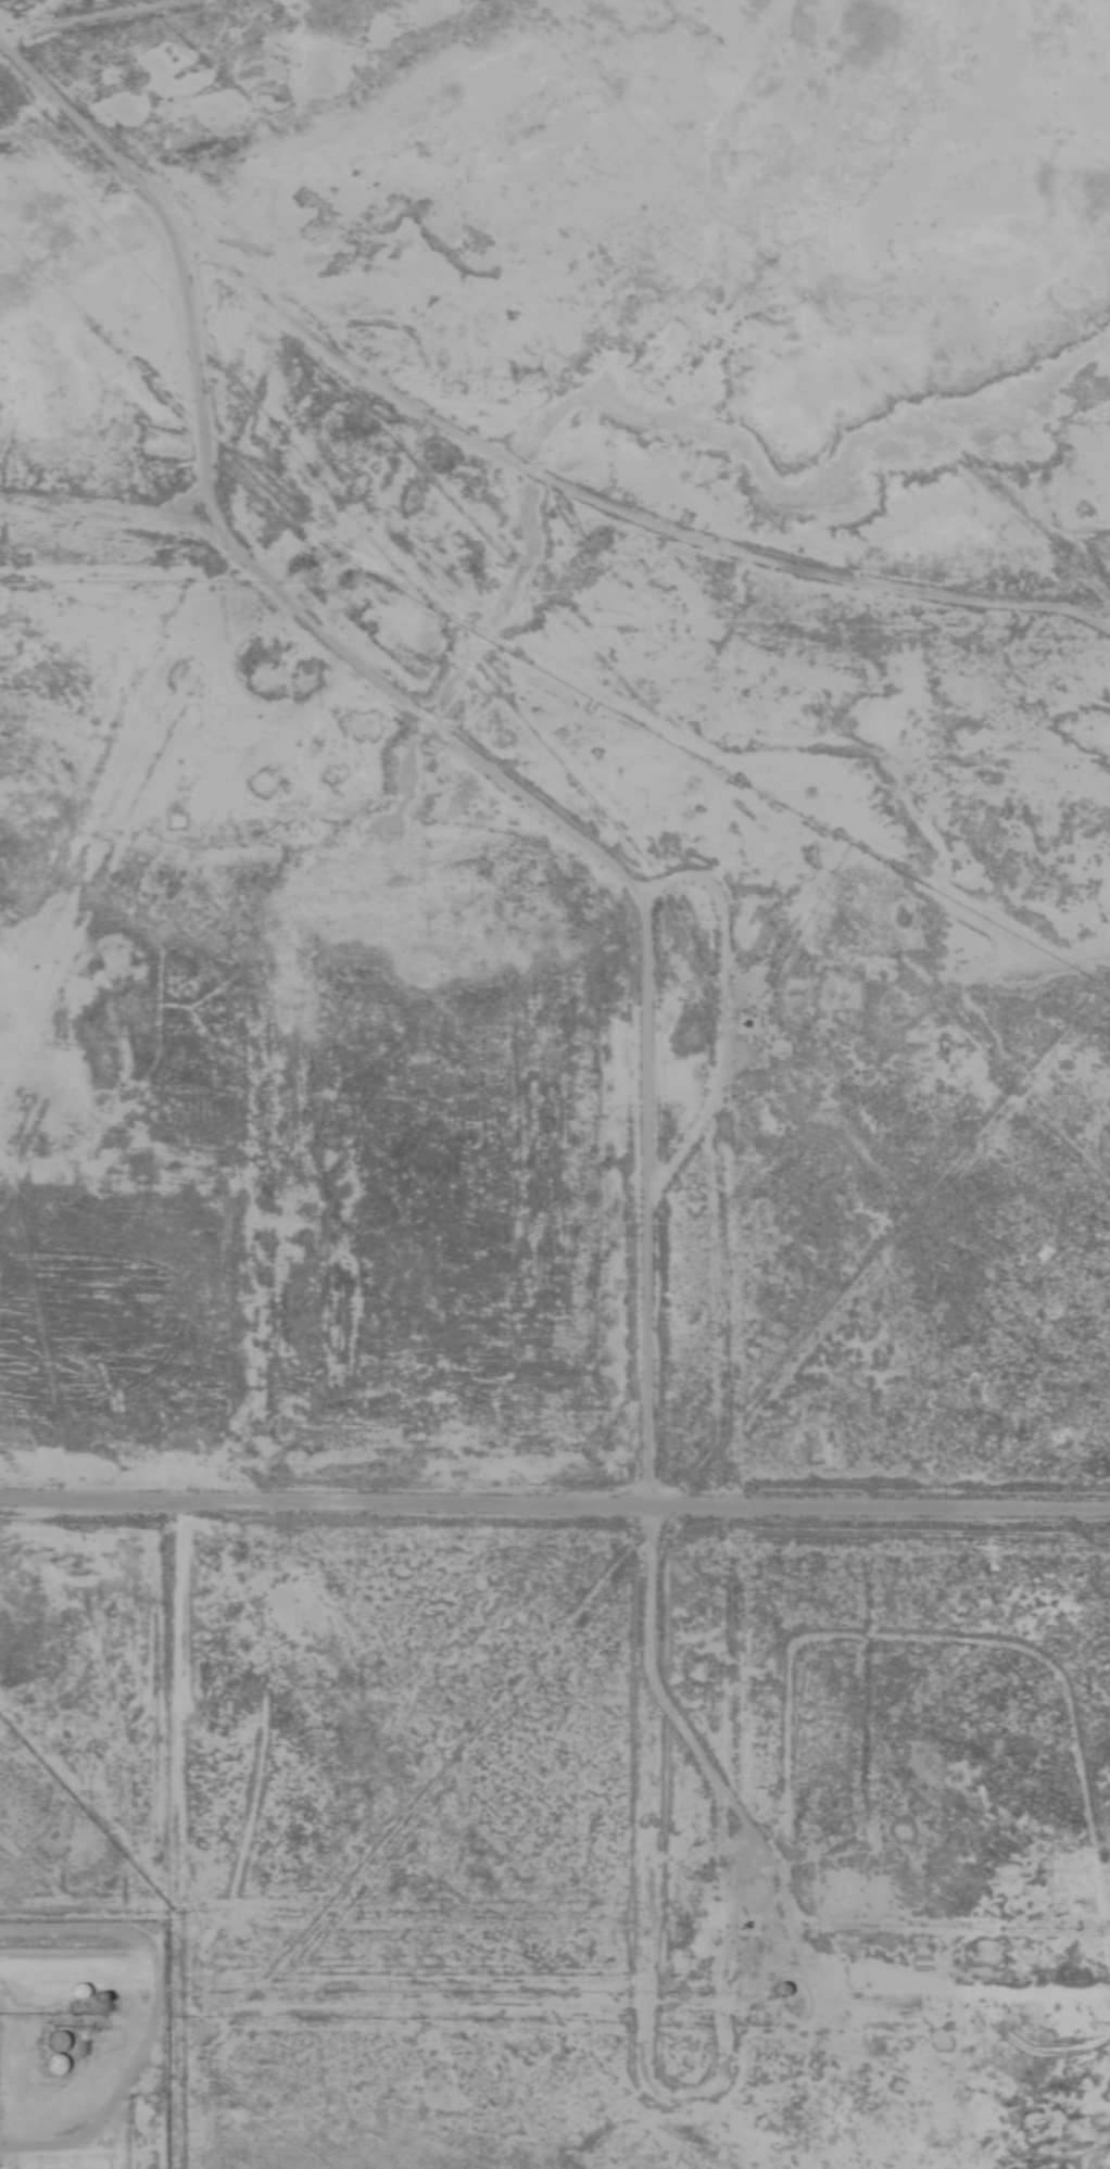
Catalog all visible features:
road: (87, 84)
road: (648, 528)
road: (705, 855)
road: (554, 1528)

